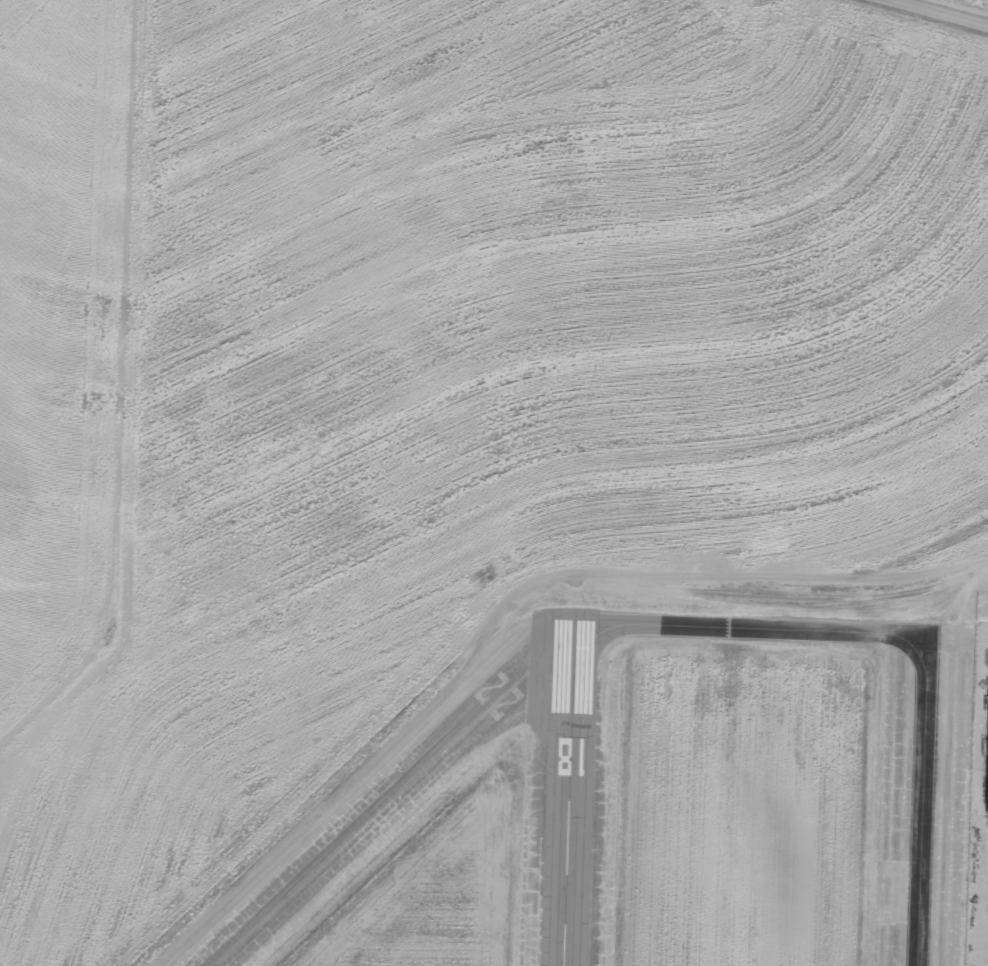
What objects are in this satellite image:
road: (937, 12)
airport: (494, 493)
road: (972, 587)
airport taxiway: (905, 639)
airport runway: (385, 792)
airport runway: (563, 792)
building: (987, 793)
airport apron: (949, 798)

